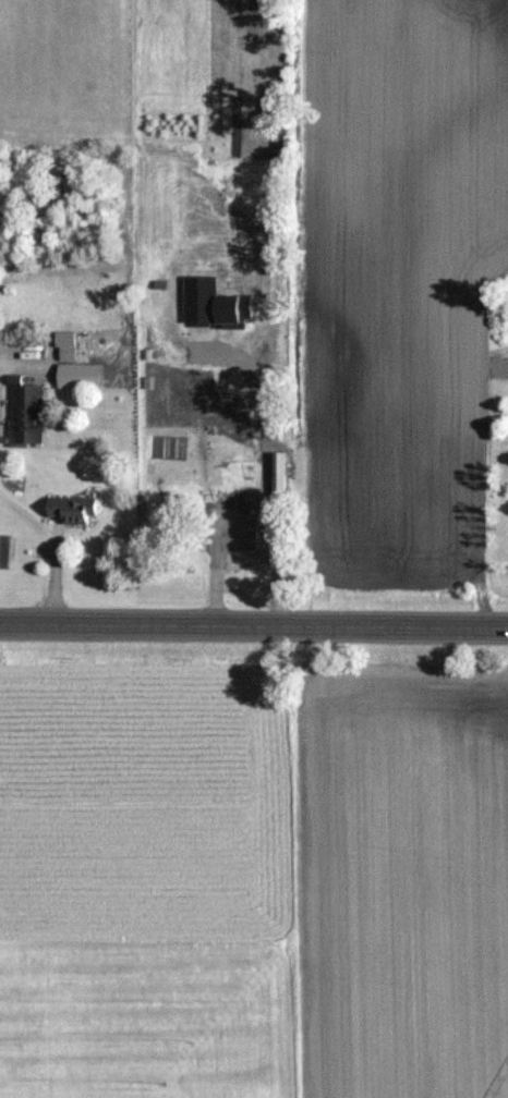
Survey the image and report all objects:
building: (26, 407)
building: (279, 464)
building: (74, 508)
building: (233, 522)
road: (254, 624)

